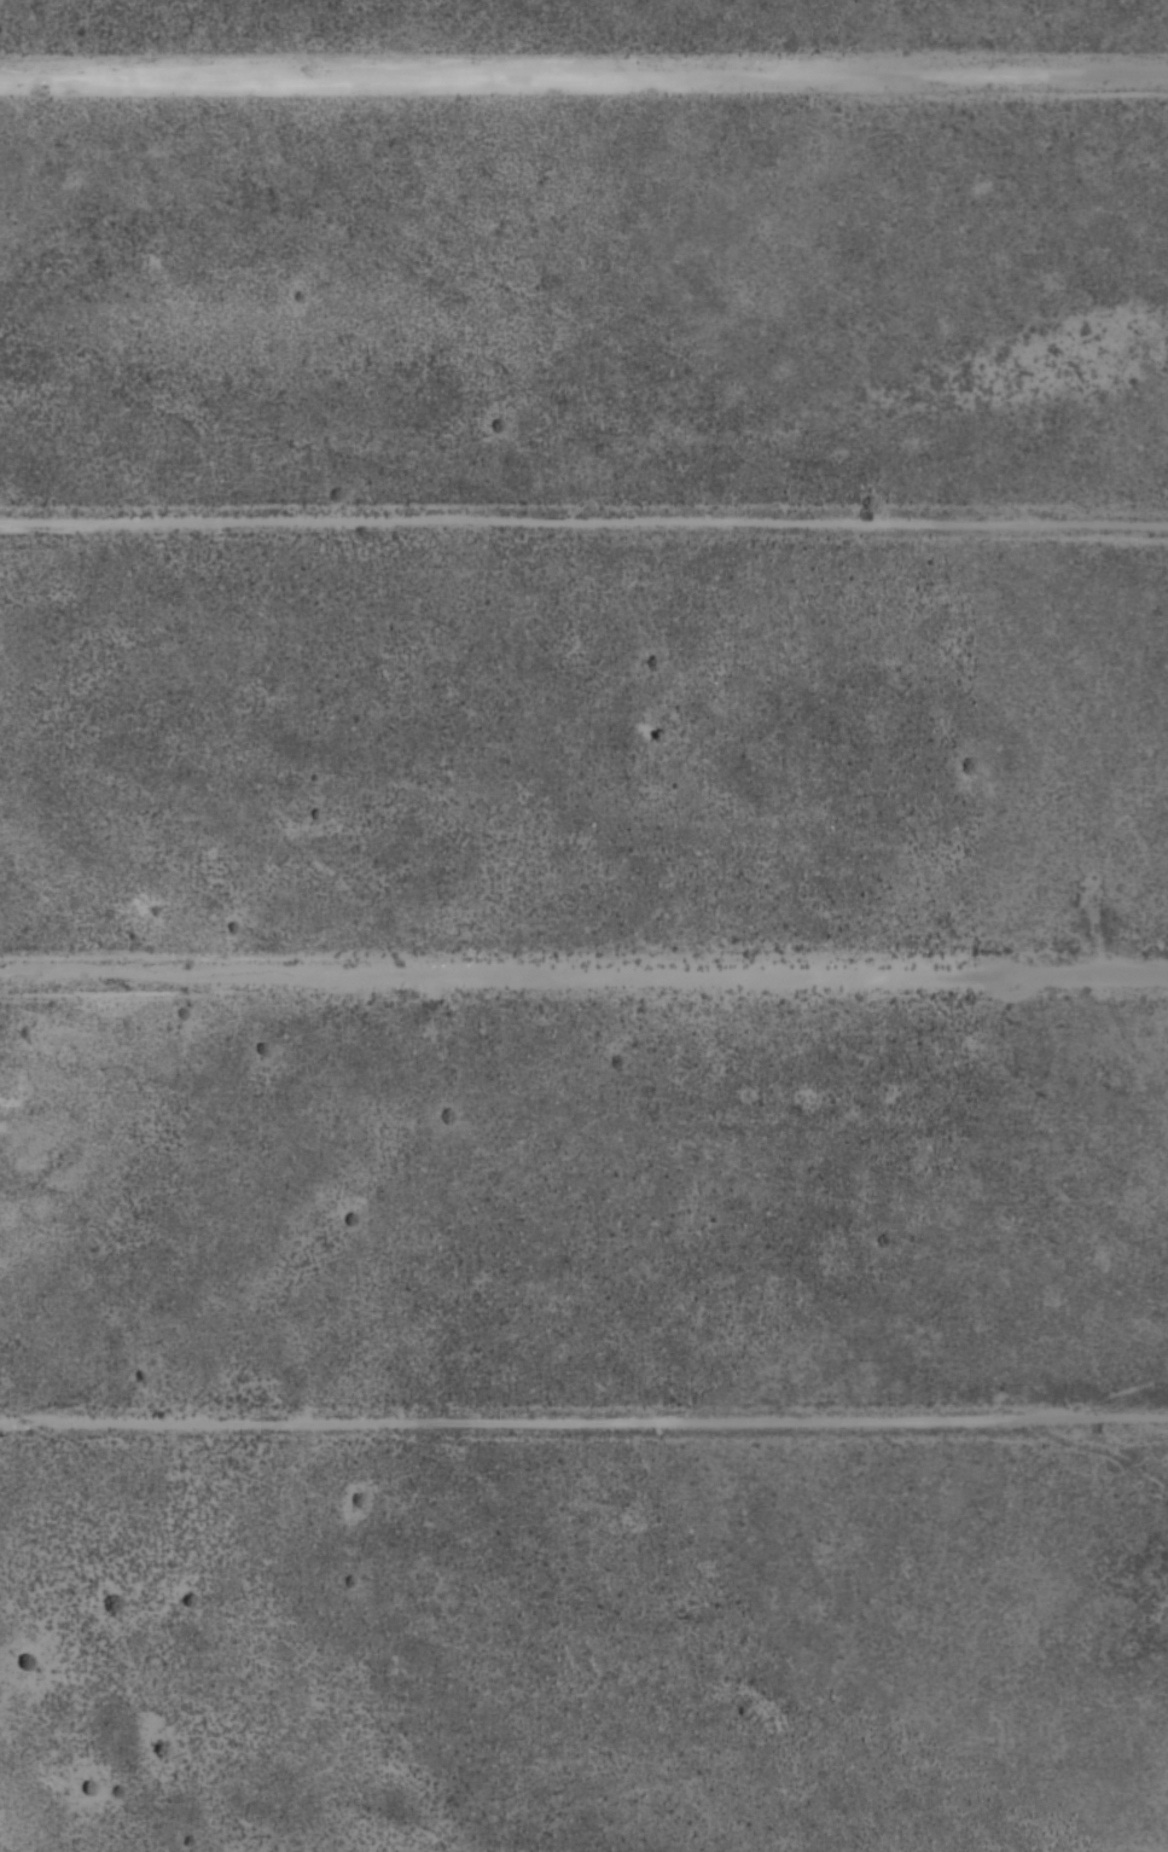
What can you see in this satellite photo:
road: (583, 72)
road: (583, 523)
road: (583, 980)
road: (583, 1422)

